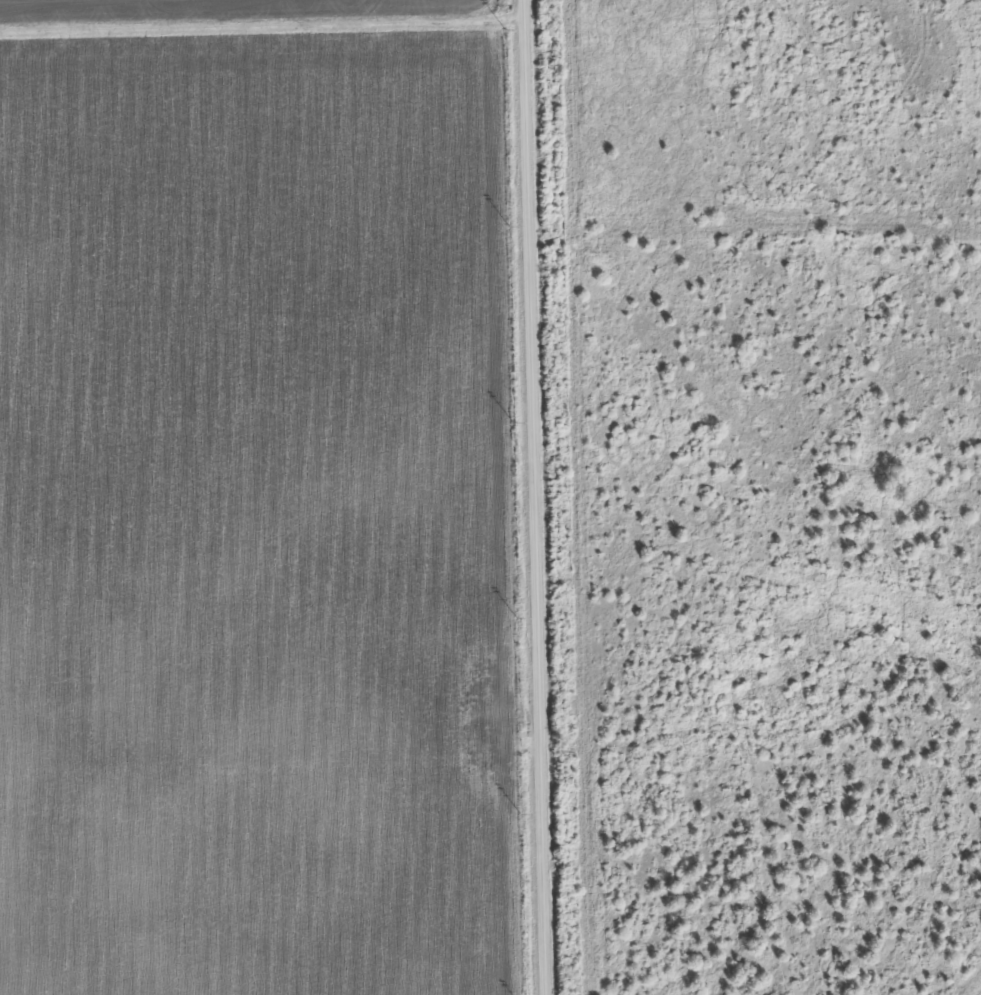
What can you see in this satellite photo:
road: (534, 497)

